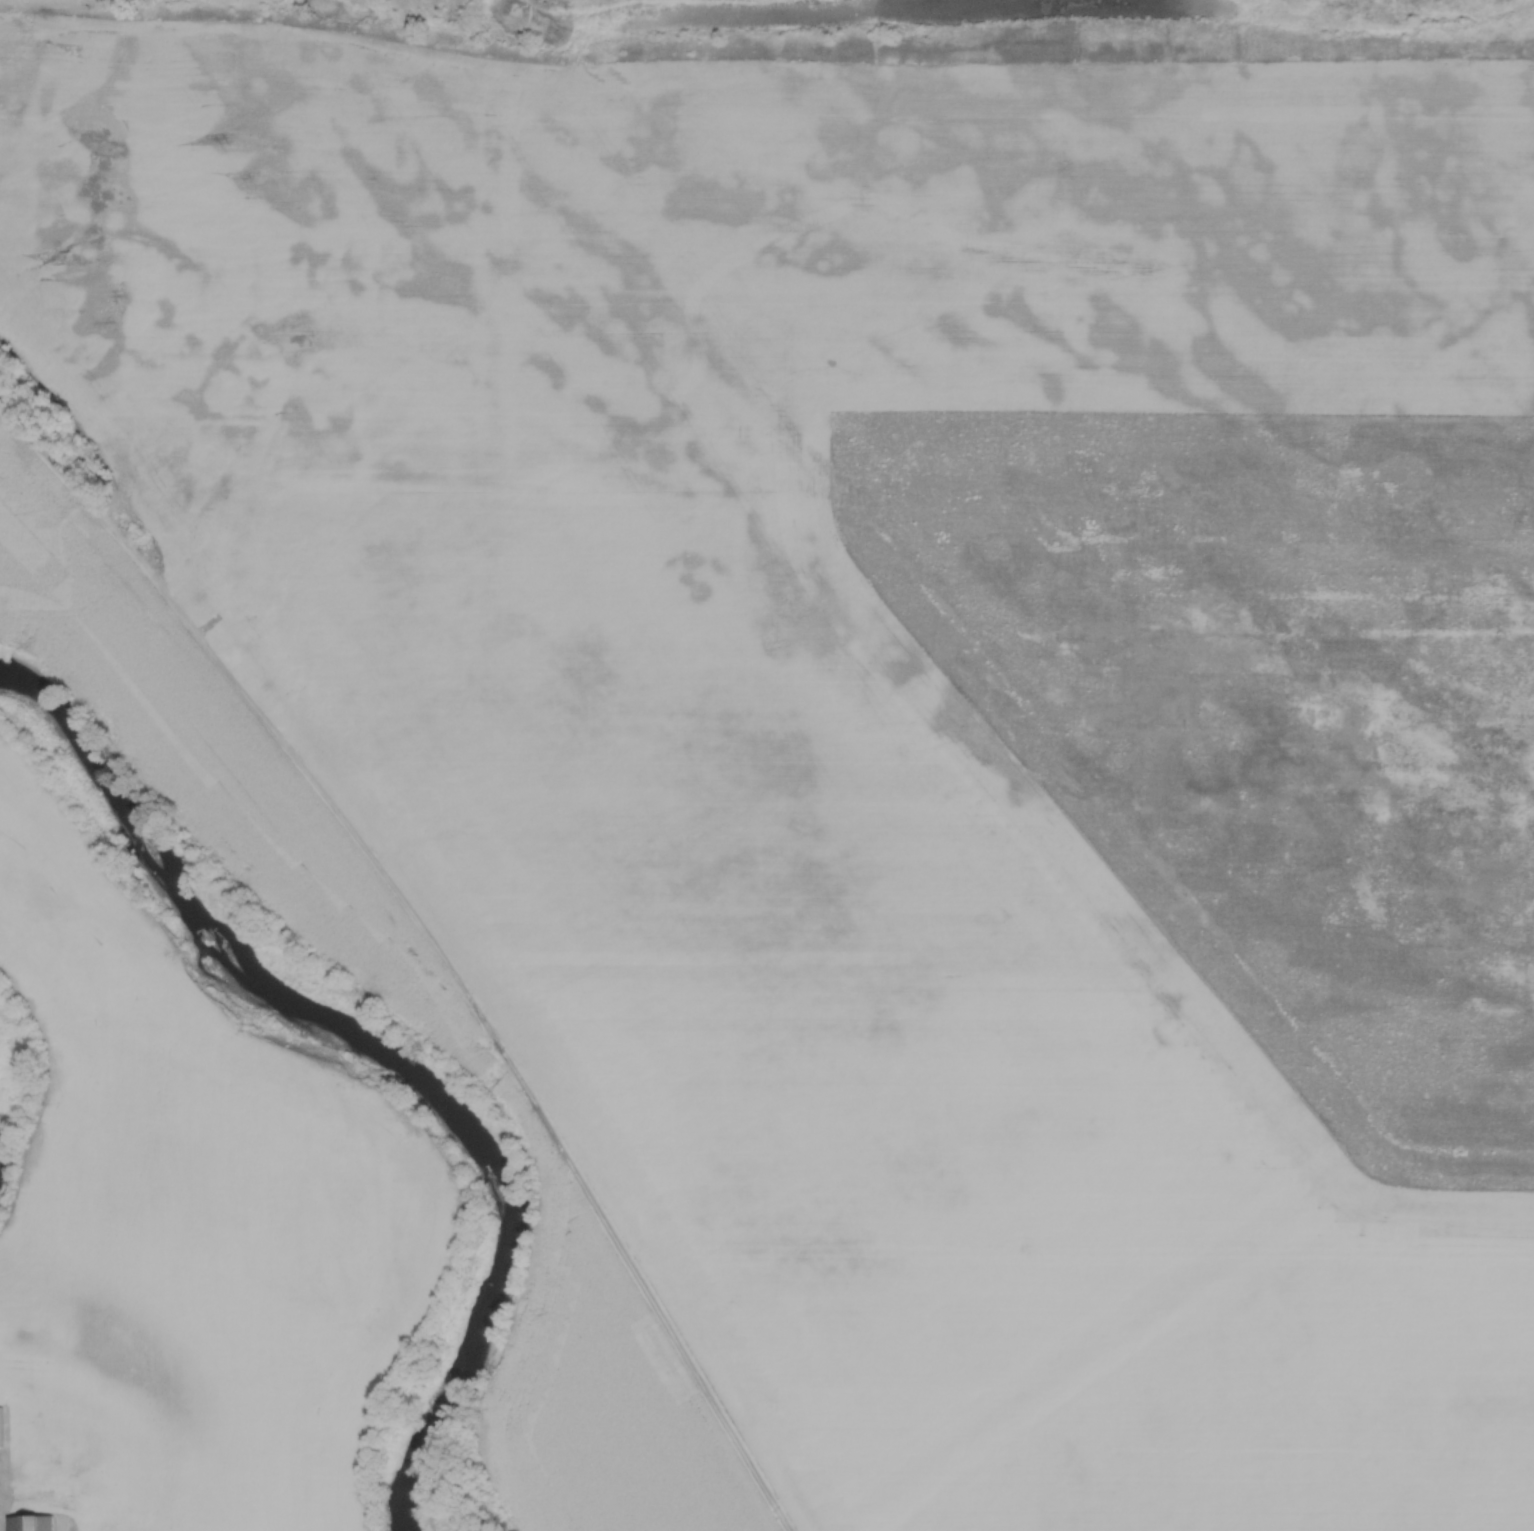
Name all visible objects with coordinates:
river: (395, 1042)
building: (1, 1427)
building: (50, 1458)
building: (30, 1523)

